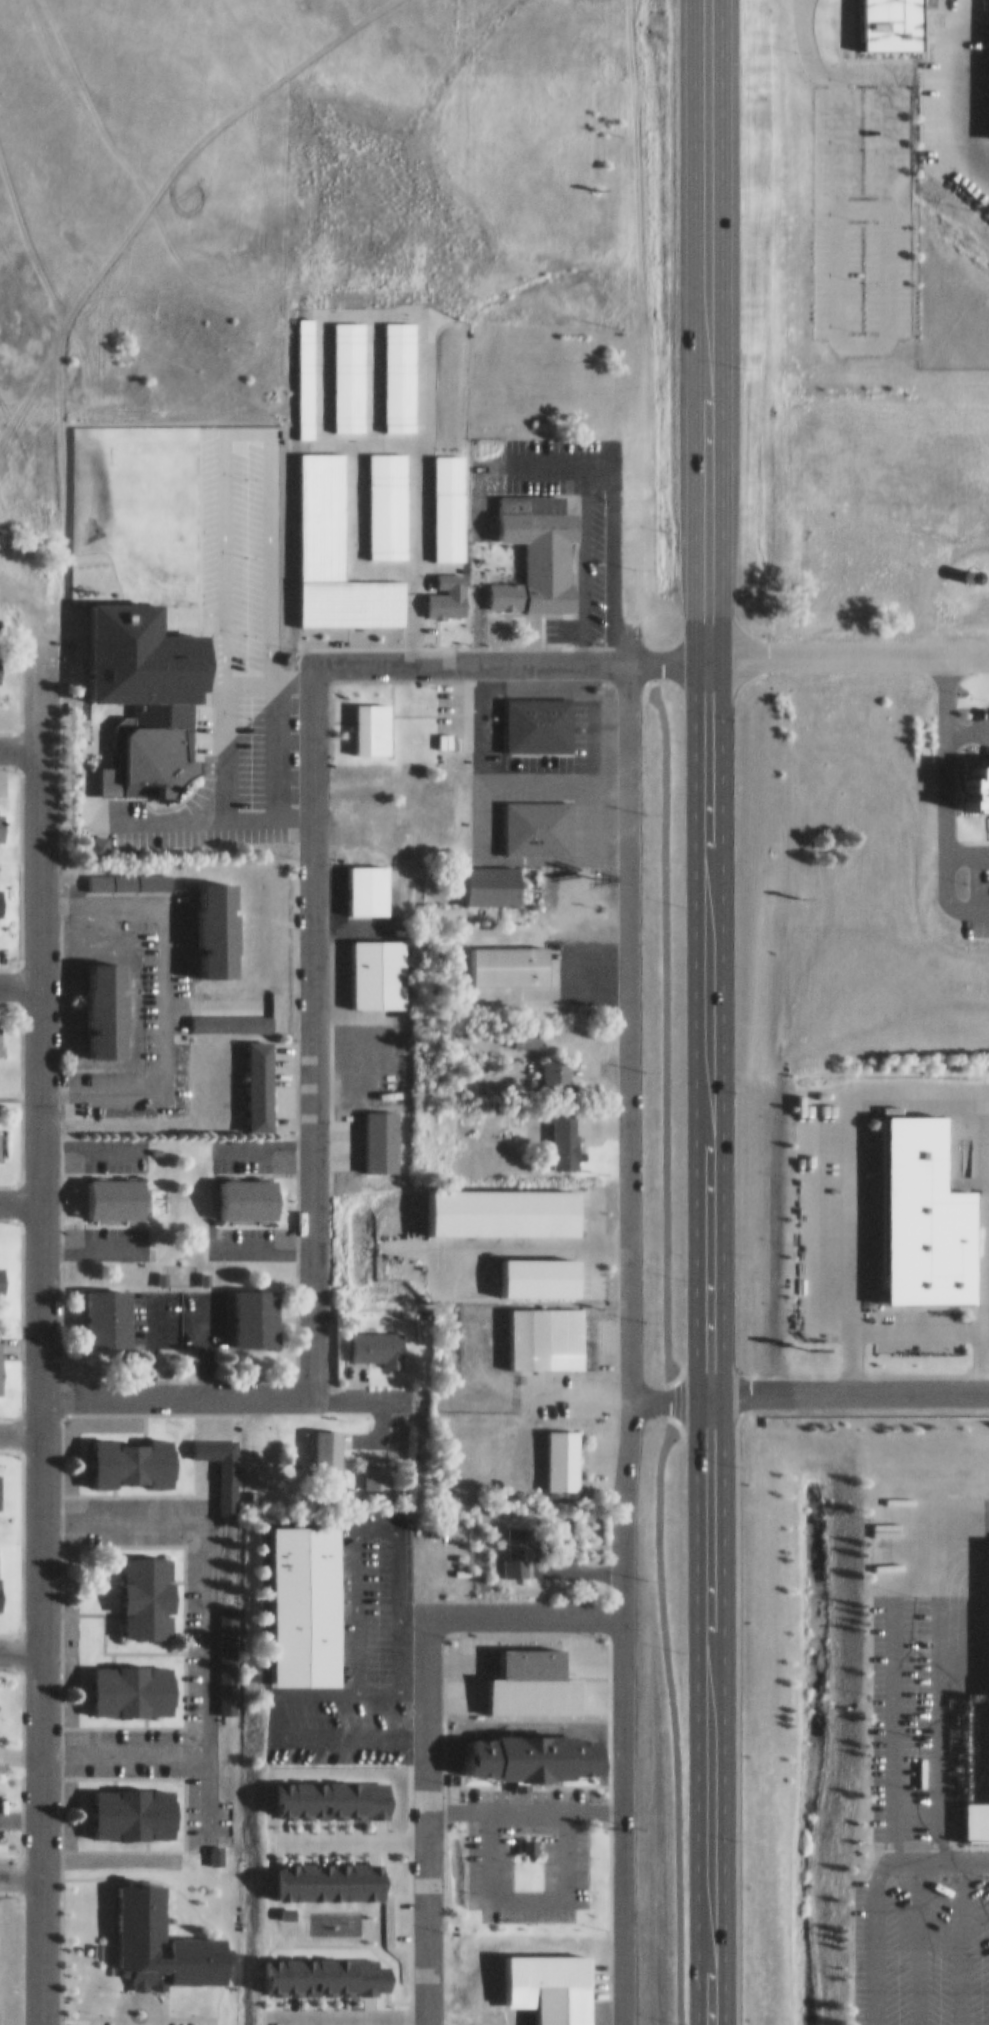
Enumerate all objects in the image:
building: (889, 20)
road: (807, 42)
road: (955, 93)
road: (861, 198)
parking lot: (860, 202)
road: (885, 333)
road: (532, 456)
building: (528, 543)
road: (848, 640)
road: (509, 656)
building: (2, 660)
building: (834, 695)
road: (220, 698)
building: (531, 714)
building: (364, 719)
building: (923, 727)
road: (968, 730)
building: (144, 739)
road: (19, 742)
road: (947, 778)
building: (971, 785)
building: (2, 811)
road: (211, 815)
building: (530, 817)
building: (89, 836)
road: (968, 851)
building: (124, 872)
building: (484, 876)
building: (360, 880)
building: (3, 894)
road: (977, 907)
building: (203, 919)
building: (501, 955)
building: (370, 963)
road: (19, 976)
road: (161, 989)
building: (94, 999)
road: (707, 1012)
road: (39, 1018)
road: (312, 1022)
building: (520, 1028)
building: (2, 1032)
building: (549, 1064)
building: (251, 1076)
road: (914, 1091)
building: (366, 1133)
building: (558, 1133)
building: (1, 1137)
building: (238, 1189)
road: (19, 1193)
building: (920, 1210)
building: (605, 1217)
road: (815, 1270)
building: (4, 1272)
building: (97, 1308)
building: (244, 1308)
building: (538, 1328)
building: (370, 1338)
road: (629, 1340)
road: (667, 1342)
building: (2, 1359)
road: (176, 1386)
road: (361, 1386)
road: (809, 1388)
road: (19, 1425)
building: (380, 1446)
building: (320, 1449)
building: (555, 1450)
building: (119, 1453)
building: (373, 1468)
building: (225, 1474)
road: (376, 1514)
building: (509, 1541)
building: (136, 1588)
road: (203, 1588)
building: (293, 1596)
building: (987, 1606)
road: (524, 1608)
road: (411, 1609)
road: (891, 1629)
road: (19, 1643)
building: (227, 1646)
building: (521, 1654)
road: (928, 1660)
road: (936, 1678)
building: (120, 1682)
road: (39, 1705)
road: (271, 1706)
road: (121, 1743)
building: (322, 1791)
building: (120, 1805)
parking lot: (909, 1806)
road: (426, 1817)
road: (19, 1865)
building: (317, 1873)
road: (871, 1885)
building: (151, 1936)
road: (918, 1938)
road: (959, 1938)
building: (553, 2000)

